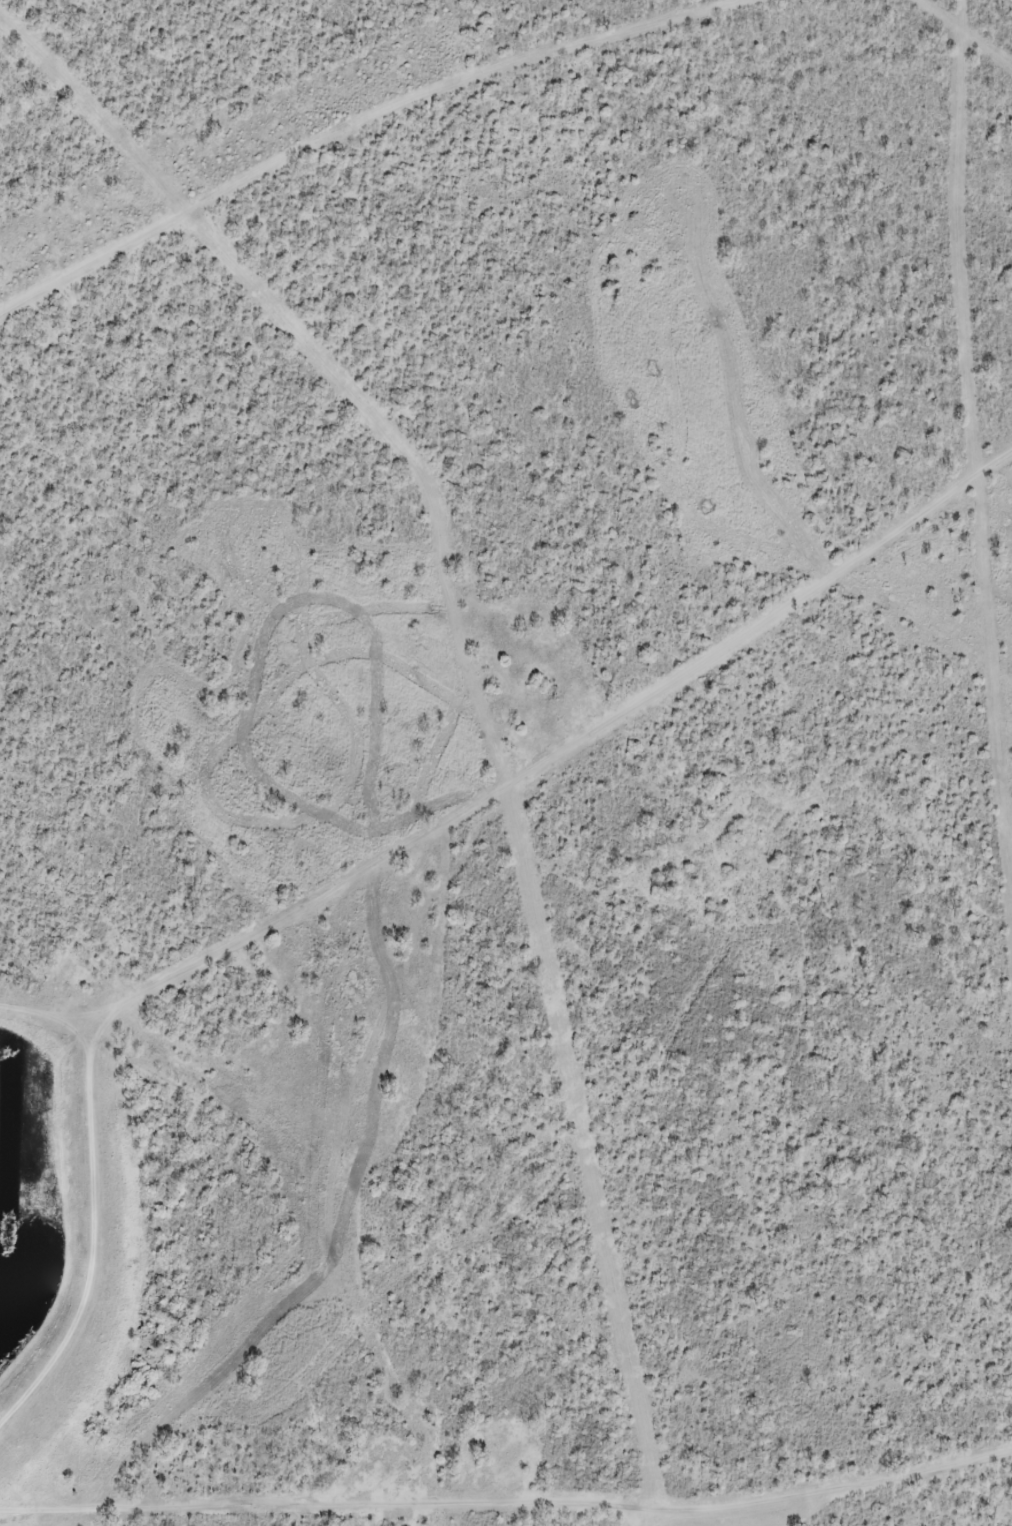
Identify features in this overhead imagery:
dam: (100, 1243)
road: (858, 1493)

